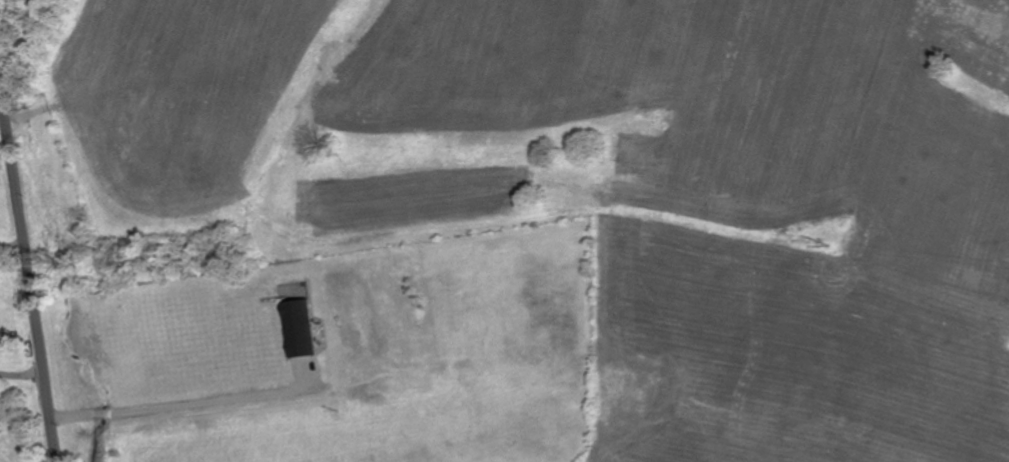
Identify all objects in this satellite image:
road: (17, 235)
road: (40, 274)
building: (298, 328)
road: (25, 366)
road: (195, 393)

